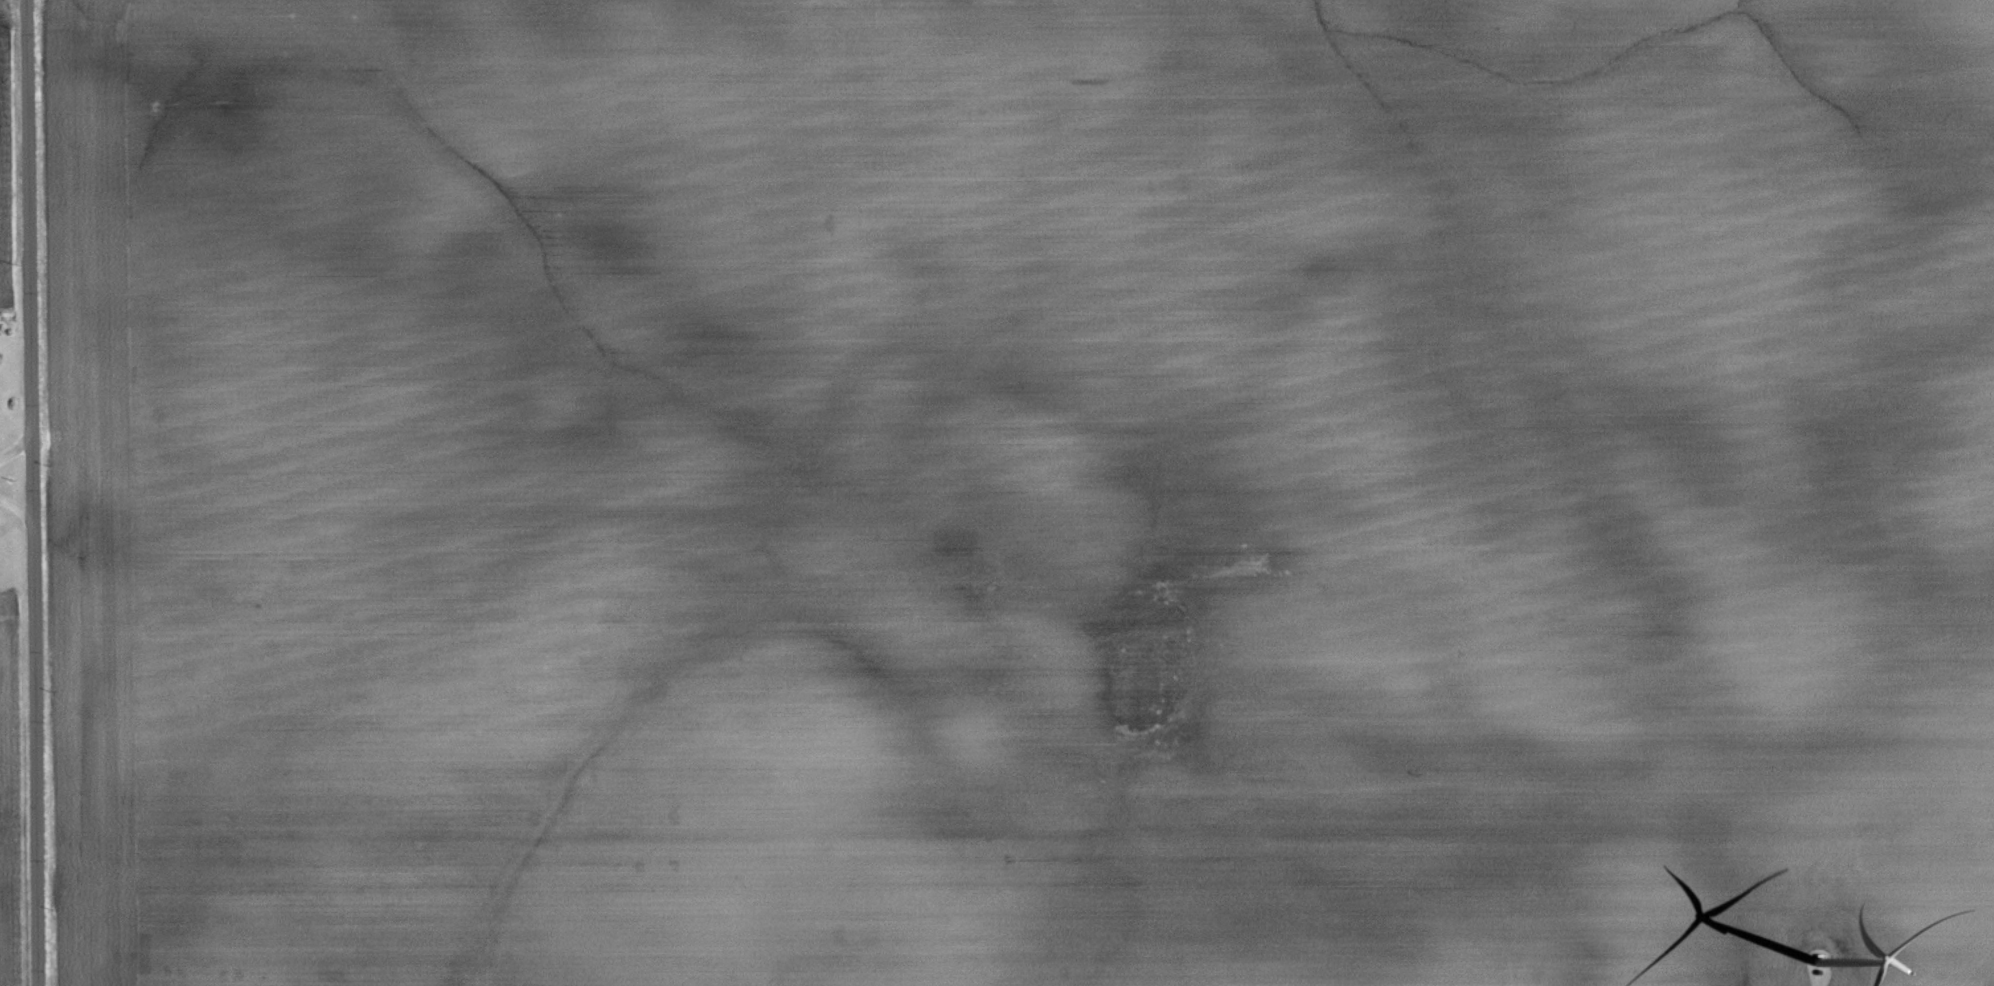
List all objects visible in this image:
road: (15, 449)
road: (30, 493)
road: (15, 508)
wind turbine: (1820, 963)
road: (1821, 982)

